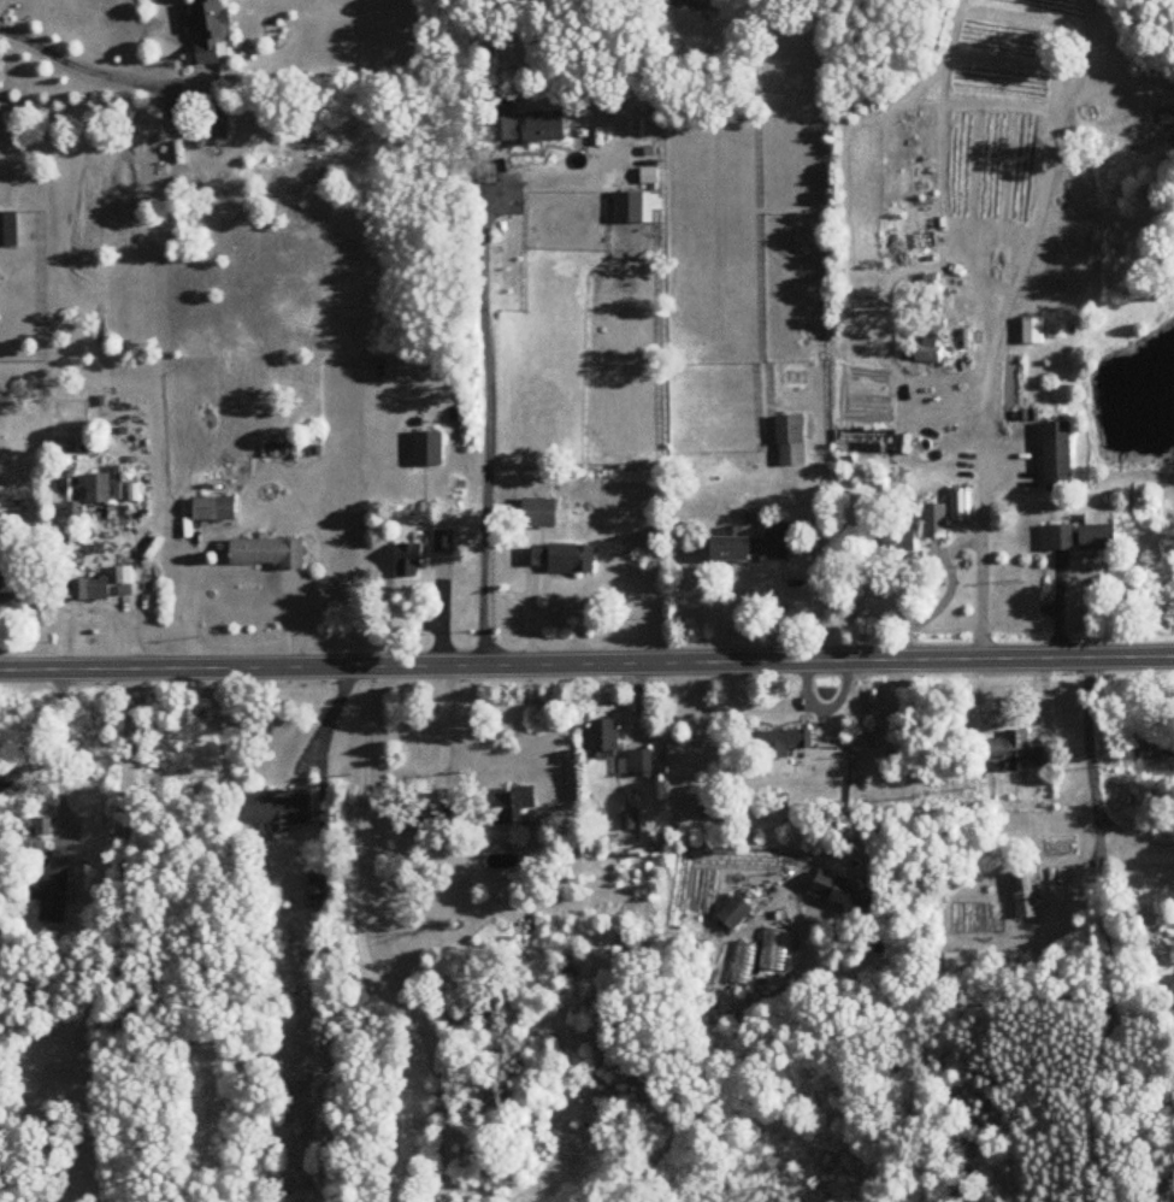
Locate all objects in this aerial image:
building: (212, 30)
road: (101, 72)
building: (523, 124)
building: (218, 129)
building: (632, 207)
building: (10, 230)
building: (1057, 330)
building: (1034, 331)
building: (930, 357)
road: (492, 418)
building: (792, 441)
building: (430, 450)
building: (1060, 458)
building: (100, 489)
building: (963, 506)
building: (216, 511)
building: (541, 514)
building: (937, 522)
building: (1082, 536)
building: (444, 542)
road: (980, 542)
building: (756, 547)
building: (270, 554)
building: (561, 560)
building: (411, 561)
road: (908, 578)
building: (13, 587)
building: (93, 590)
road: (948, 599)
road: (586, 665)
road: (447, 736)
building: (604, 740)
building: (784, 742)
building: (1019, 750)
building: (639, 762)
road: (909, 774)
building: (515, 807)
building: (282, 809)
building: (409, 819)
road: (40, 886)
building: (838, 888)
building: (54, 889)
building: (321, 891)
building: (1026, 894)
building: (736, 913)
road: (131, 936)
road: (1086, 939)
road: (365, 948)
building: (961, 962)
building: (745, 964)
road: (66, 1027)
road: (1132, 1039)

